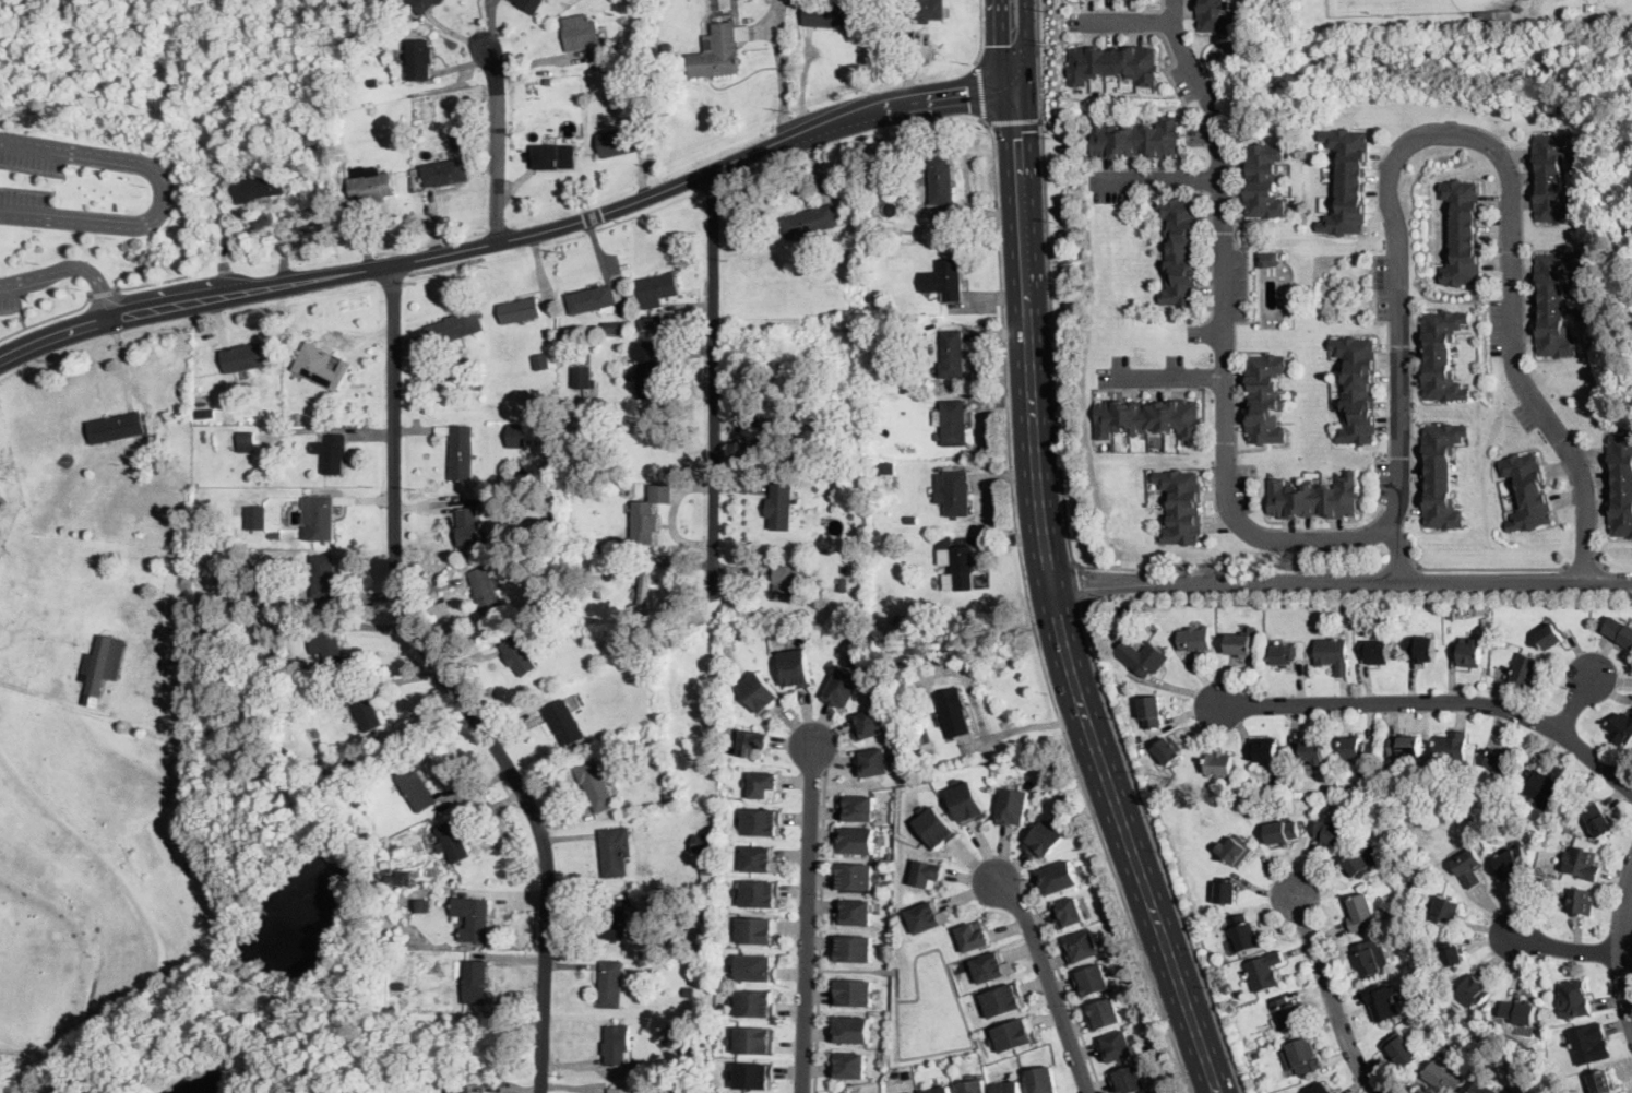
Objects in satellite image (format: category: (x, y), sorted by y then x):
building: (424, 4)
building: (529, 4)
park: (1413, 5)
building: (1520, 7)
building: (926, 10)
road: (1120, 10)
building: (1486, 12)
building: (825, 14)
building: (1218, 15)
road: (1128, 23)
road: (981, 29)
building: (584, 34)
building: (614, 43)
traffic signals: (1004, 43)
road: (1004, 45)
building: (666, 46)
building: (718, 50)
road: (1009, 50)
park: (1446, 50)
building: (419, 59)
building: (1113, 62)
road: (778, 70)
road: (803, 81)
building: (552, 82)
road: (982, 87)
road: (1017, 90)
traffic signals: (968, 95)
building: (275, 108)
road: (1014, 119)
building: (277, 126)
traffic signals: (1032, 130)
building: (1135, 139)
building: (458, 140)
road: (499, 140)
building: (621, 141)
building: (317, 142)
building: (553, 156)
road: (32, 170)
building: (443, 173)
building: (1554, 176)
building: (254, 179)
road: (1157, 179)
building: (941, 180)
building: (1264, 181)
building: (1347, 182)
building: (369, 185)
road: (166, 193)
building: (810, 222)
building: (1461, 233)
road: (507, 240)
building: (1181, 252)
building: (1270, 259)
road: (45, 275)
building: (944, 280)
road: (153, 283)
building: (657, 288)
road: (104, 292)
road: (100, 296)
road: (122, 298)
building: (594, 299)
building: (878, 305)
building: (1554, 305)
building: (520, 310)
road: (10, 311)
road: (50, 319)
building: (652, 321)
road: (1377, 321)
road: (25, 324)
building: (615, 328)
building: (634, 329)
building: (454, 331)
road: (1211, 333)
building: (952, 354)
building: (1442, 356)
building: (337, 358)
building: (343, 358)
building: (243, 359)
building: (541, 364)
building: (320, 366)
building: (648, 369)
building: (788, 370)
building: (583, 373)
road: (1163, 376)
building: (473, 381)
road: (713, 383)
building: (1357, 391)
building: (200, 396)
building: (1265, 399)
building: (1577, 399)
road: (1398, 403)
building: (205, 413)
building: (1148, 418)
building: (951, 423)
building: (117, 427)
building: (774, 432)
building: (517, 435)
road: (1059, 435)
building: (246, 438)
building: (747, 441)
building: (913, 450)
building: (332, 452)
building: (462, 452)
building: (886, 468)
building: (666, 470)
building: (1524, 472)
building: (1441, 475)
building: (885, 479)
building: (1621, 483)
building: (953, 492)
building: (1314, 498)
building: (2, 508)
building: (778, 508)
building: (1181, 508)
building: (1533, 509)
building: (319, 515)
building: (255, 516)
building: (912, 520)
building: (645, 522)
building: (469, 526)
building: (249, 551)
road: (1396, 551)
road: (1059, 559)
building: (956, 565)
road: (1584, 566)
building: (843, 567)
road: (1398, 567)
road: (1493, 568)
building: (322, 575)
building: (854, 581)
road: (1336, 582)
building: (785, 583)
building: (842, 583)
road: (1079, 583)
building: (643, 589)
building: (486, 590)
building: (242, 603)
road: (1044, 604)
building: (1121, 611)
building: (1363, 611)
building: (1452, 616)
road: (1031, 617)
building: (926, 621)
building: (941, 622)
building: (1550, 637)
building: (1627, 637)
building: (1195, 639)
building: (1242, 642)
building: (326, 644)
building: (1497, 644)
building: (1423, 649)
building: (1377, 652)
building: (1469, 652)
building: (1334, 654)
building: (1284, 655)
building: (519, 656)
building: (1143, 657)
building: (98, 665)
building: (796, 668)
building: (1527, 670)
road: (22, 687)
road: (444, 687)
building: (842, 689)
building: (761, 693)
road: (1439, 701)
road: (1574, 705)
building: (365, 710)
building: (953, 712)
building: (1152, 712)
building: (564, 723)
building: (866, 725)
building: (1621, 728)
building: (921, 736)
building: (1140, 737)
building: (752, 744)
building: (1406, 746)
building: (1358, 749)
building: (1453, 750)
building: (1168, 751)
building: (1264, 751)
building: (1312, 752)
building: (1503, 761)
building: (872, 762)
building: (1219, 763)
building: (1331, 776)
building: (597, 785)
building: (762, 786)
building: (1541, 787)
building: (416, 788)
building: (1176, 794)
building: (1266, 794)
building: (967, 803)
building: (1014, 808)
building: (857, 809)
building: (1598, 821)
building: (761, 822)
building: (937, 828)
building: (1283, 832)
building: (1330, 832)
building: (856, 841)
building: (1044, 841)
building: (452, 842)
building: (705, 843)
road: (1157, 848)
building: (1236, 850)
building: (616, 851)
building: (760, 860)
building: (1582, 863)
building: (1513, 864)
building: (385, 865)
building: (1358, 866)
building: (708, 868)
building: (1470, 868)
building: (928, 871)
building: (855, 877)
building: (1058, 878)
building: (401, 879)
building: (1538, 881)
building: (713, 887)
building: (1227, 892)
building: (759, 893)
building: (1580, 901)
building: (422, 906)
building: (1446, 911)
building: (853, 913)
building: (1361, 913)
building: (1068, 914)
building: (472, 917)
building: (612, 918)
building: (928, 918)
road: (808, 919)
building: (1406, 926)
road: (819, 931)
building: (757, 932)
building: (1244, 934)
building: (974, 936)
building: (1081, 948)
building: (851, 949)
road: (1568, 949)
road: (1624, 949)
building: (1453, 955)
building: (1369, 958)
building: (991, 967)
building: (754, 969)
building: (1265, 972)
building: (1091, 982)
building: (476, 983)
road: (1062, 983)
building: (610, 984)
road: (1049, 984)
building: (400, 987)
building: (689, 993)
building: (850, 994)
building: (1472, 994)
road: (1332, 997)
building: (1574, 999)
building: (1003, 1001)
building: (1382, 1002)
building: (754, 1005)
building: (1104, 1011)
building: (1521, 1011)
building: (1288, 1014)
building: (849, 1031)
building: (1013, 1035)
building: (699, 1037)
building: (753, 1041)
building: (616, 1044)
building: (1589, 1044)
building: (1116, 1046)
road: (949, 1050)
building: (1401, 1052)
building: (1305, 1057)
building: (953, 1059)
building: (847, 1065)
road: (19, 1066)
building: (634, 1066)
building: (896, 1073)
building: (1444, 1073)
building: (751, 1076)
building: (1128, 1078)
building: (1041, 1081)
building: (62, 1082)
building: (1601, 1082)
building: (670, 1084)
building: (973, 1085)
building: (457, 1088)
building: (1008, 1088)
building: (1319, 1089)
building: (1484, 1089)
building: (939, 1090)
building: (621, 1091)

